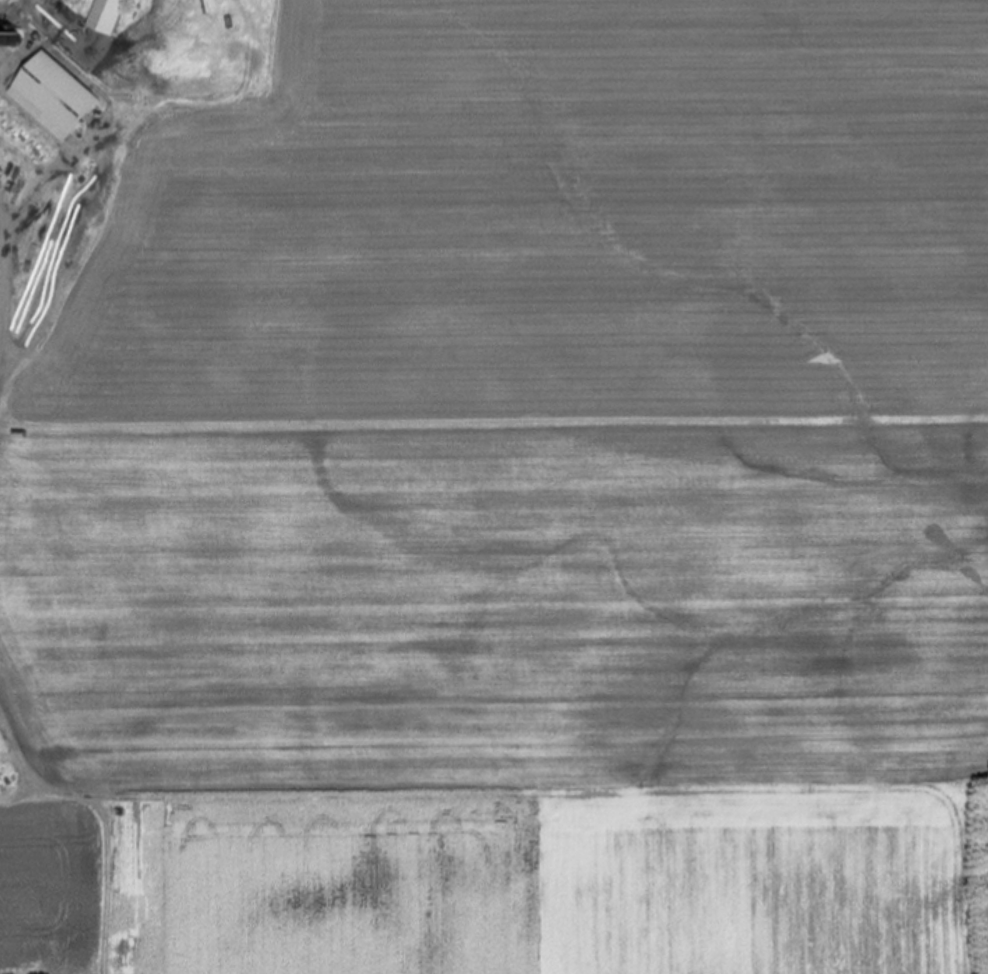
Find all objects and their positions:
building: (2, 0)
building: (21, 0)
building: (111, 16)
building: (59, 97)

